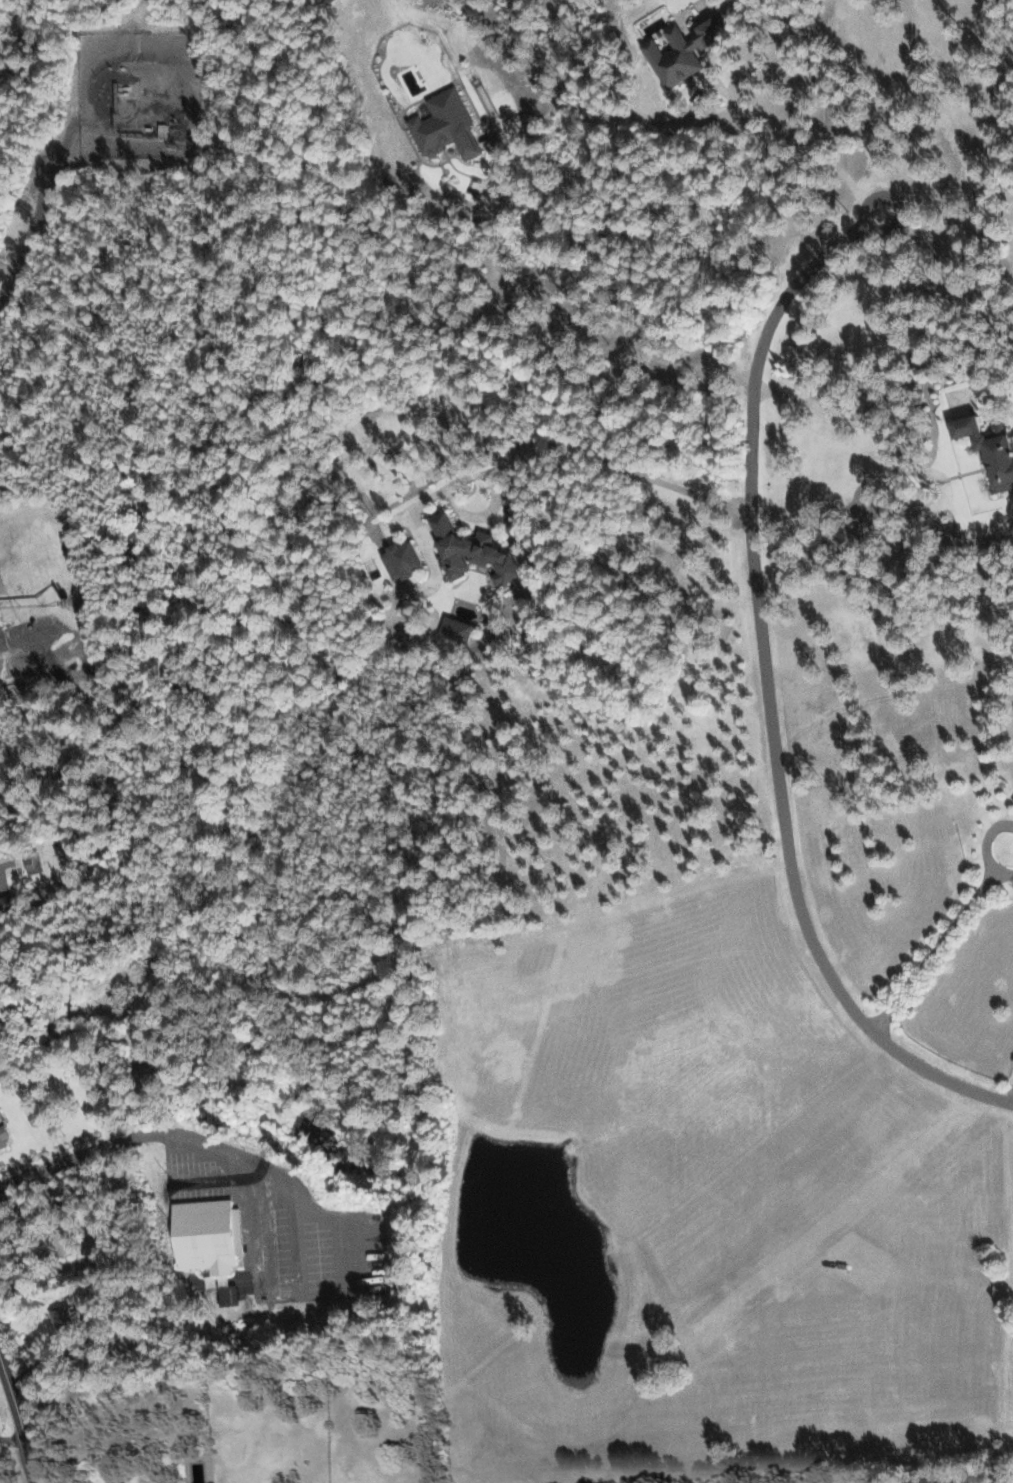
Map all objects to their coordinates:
building: (326, 1)
building: (675, 50)
building: (441, 125)
building: (986, 450)
road: (888, 460)
building: (464, 550)
building: (397, 560)
building: (452, 629)
road: (766, 683)
building: (1011, 807)
building: (34, 861)
building: (9, 904)
road: (941, 940)
building: (3, 1011)
building: (5, 1134)
building: (209, 1234)
building: (66, 1242)
building: (227, 1294)
road: (21, 1420)
building: (125, 1482)

